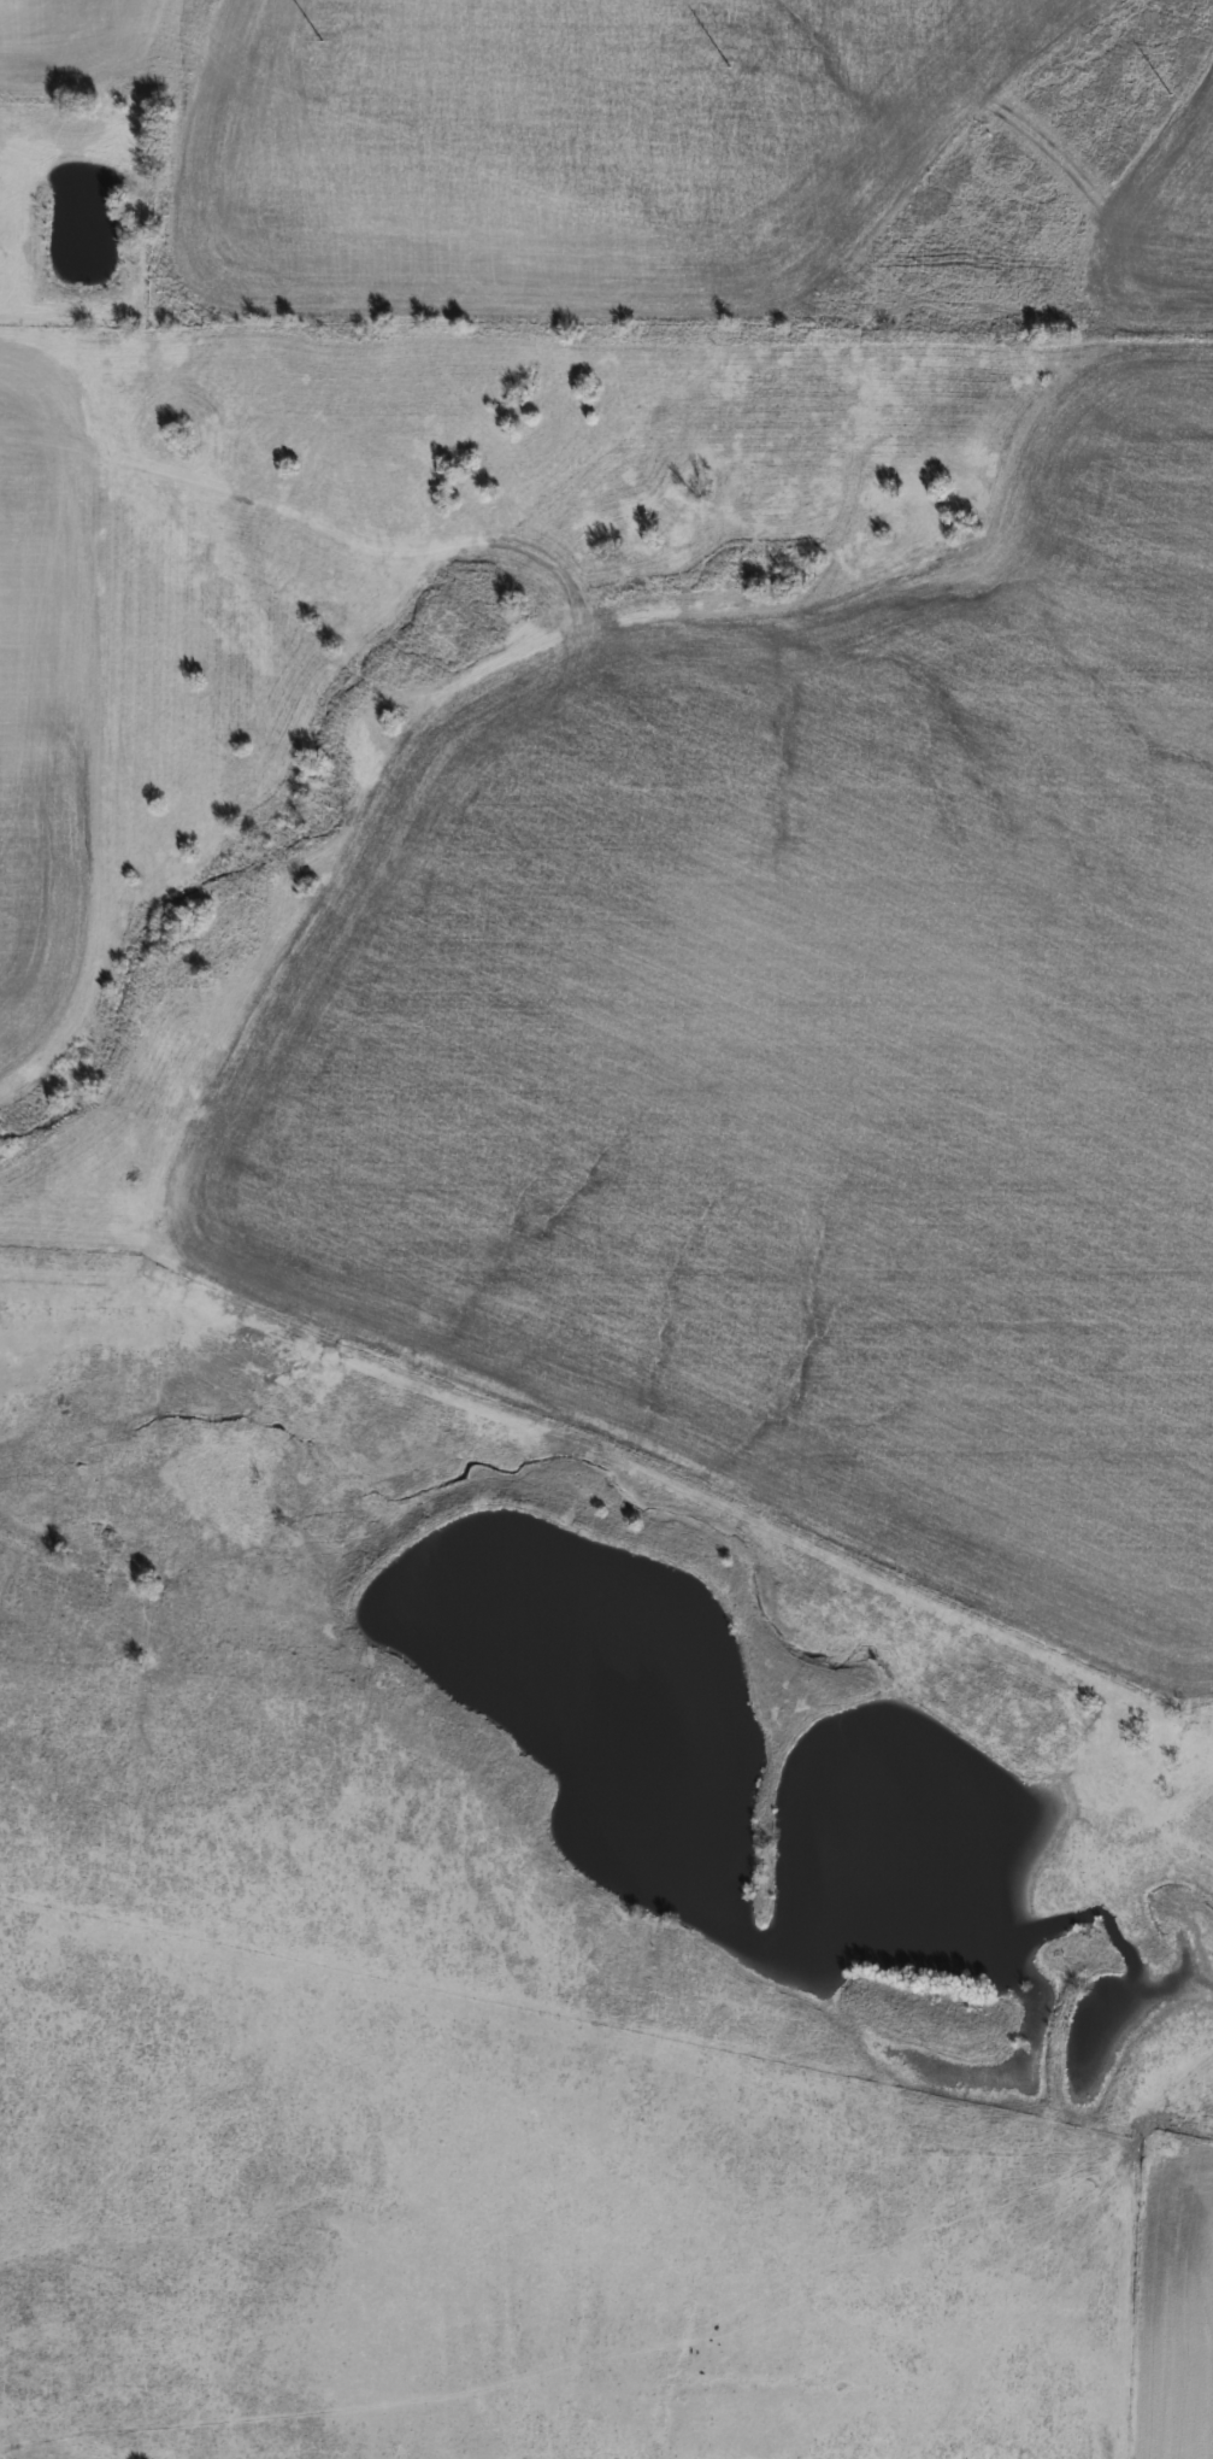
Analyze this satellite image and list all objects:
power tower: (322, 40)
power tower: (728, 66)
power tower: (1170, 94)

